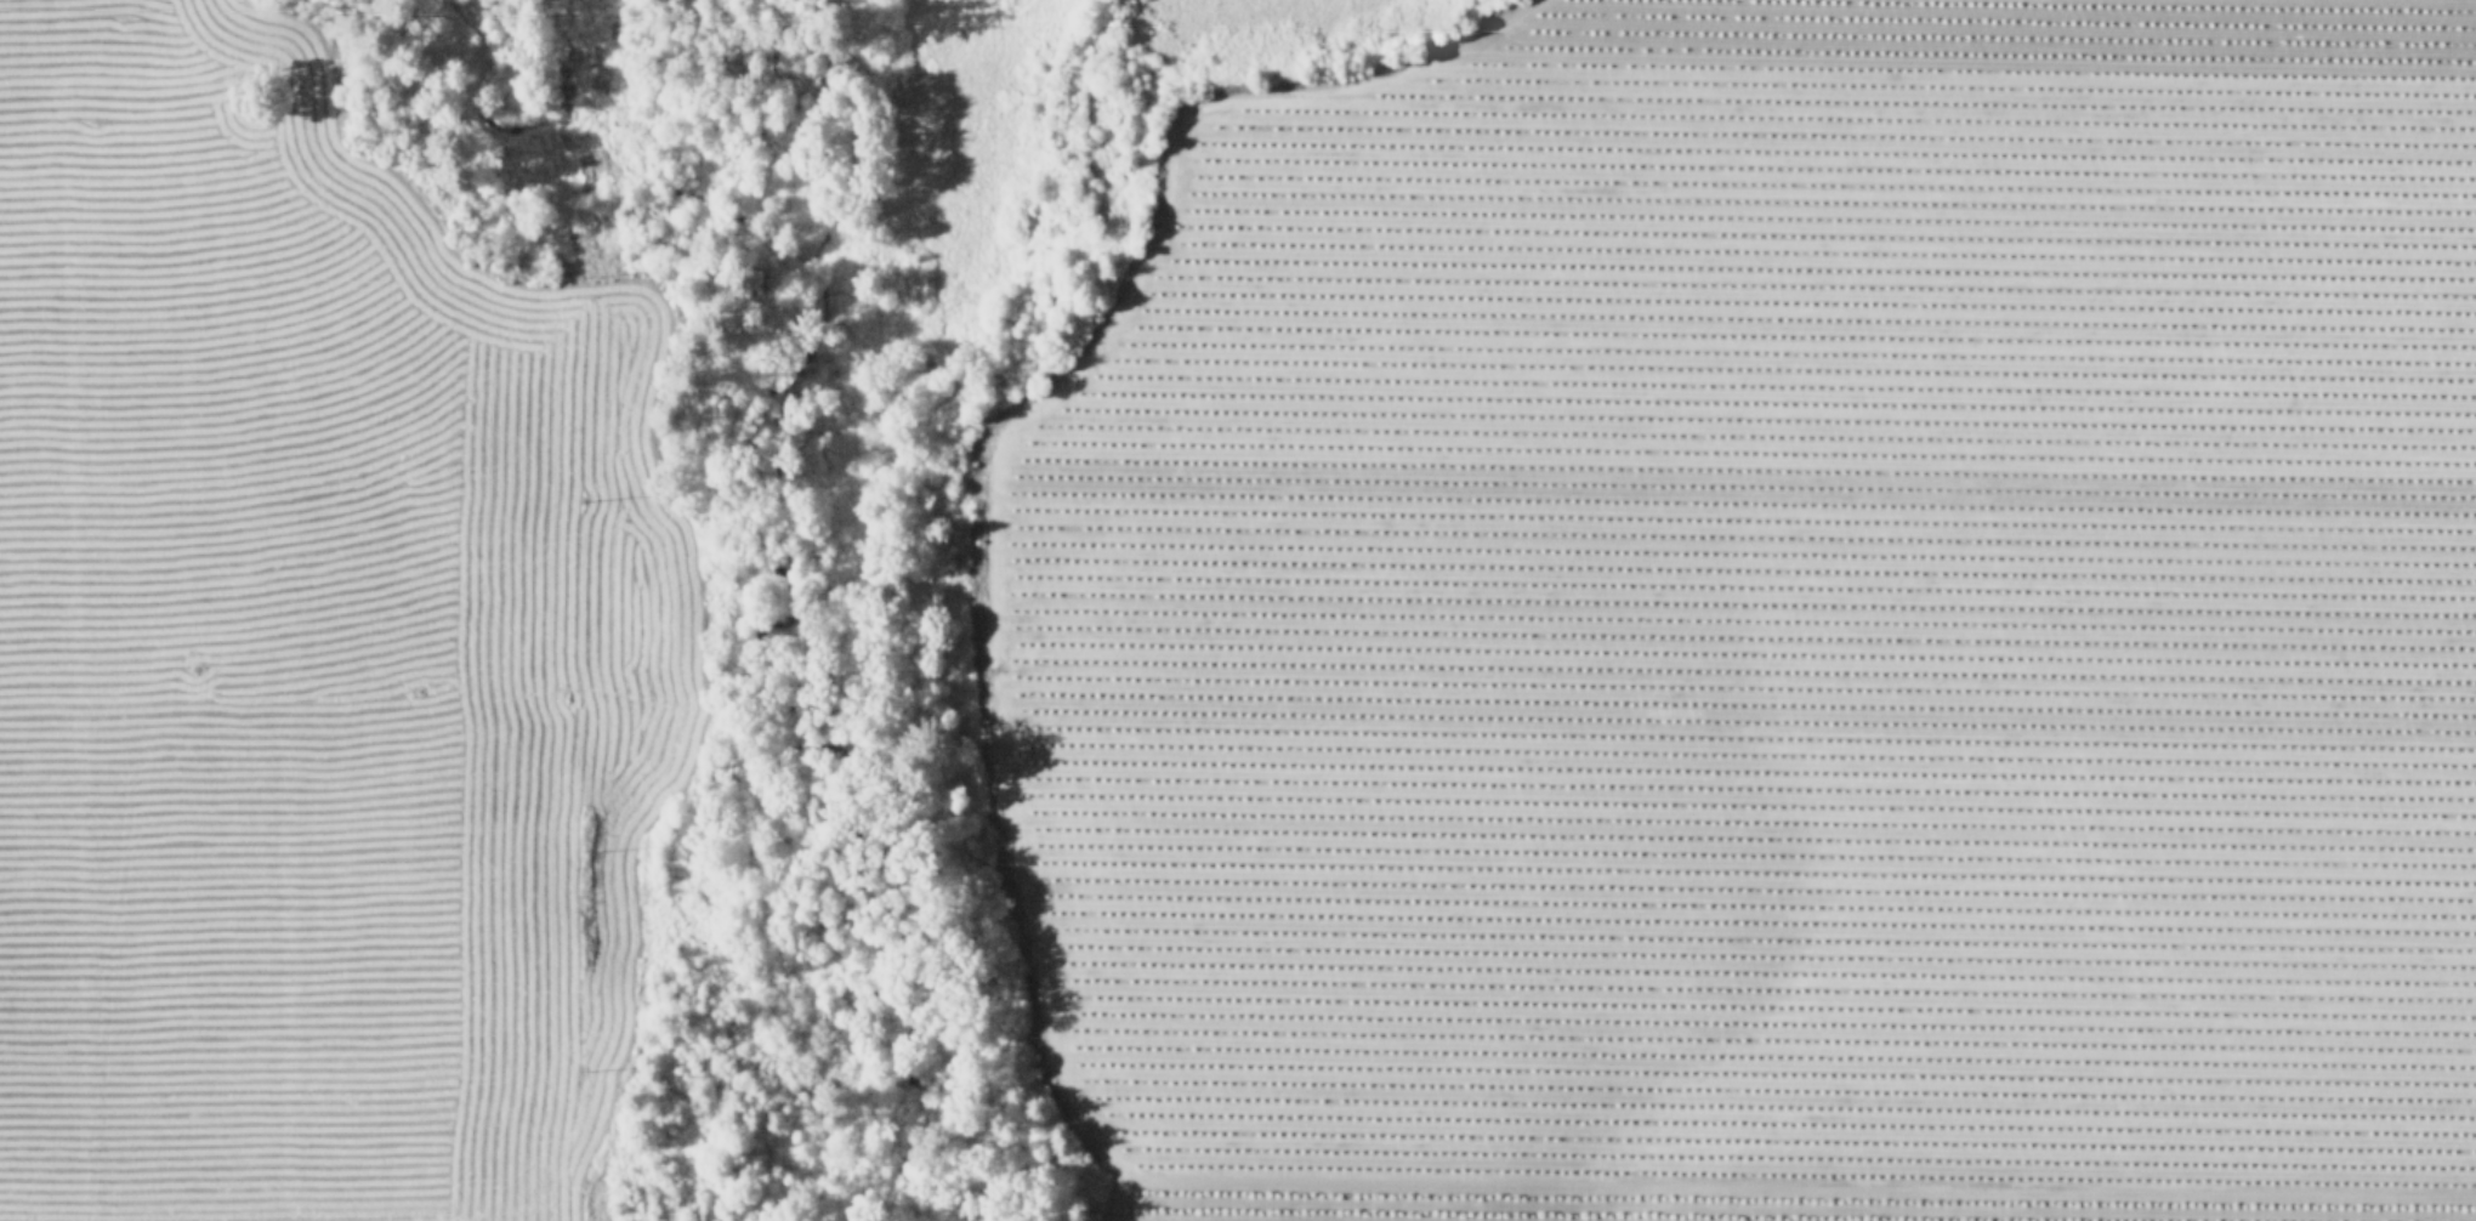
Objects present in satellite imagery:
crop: (1761, 613)
crop: (277, 677)

